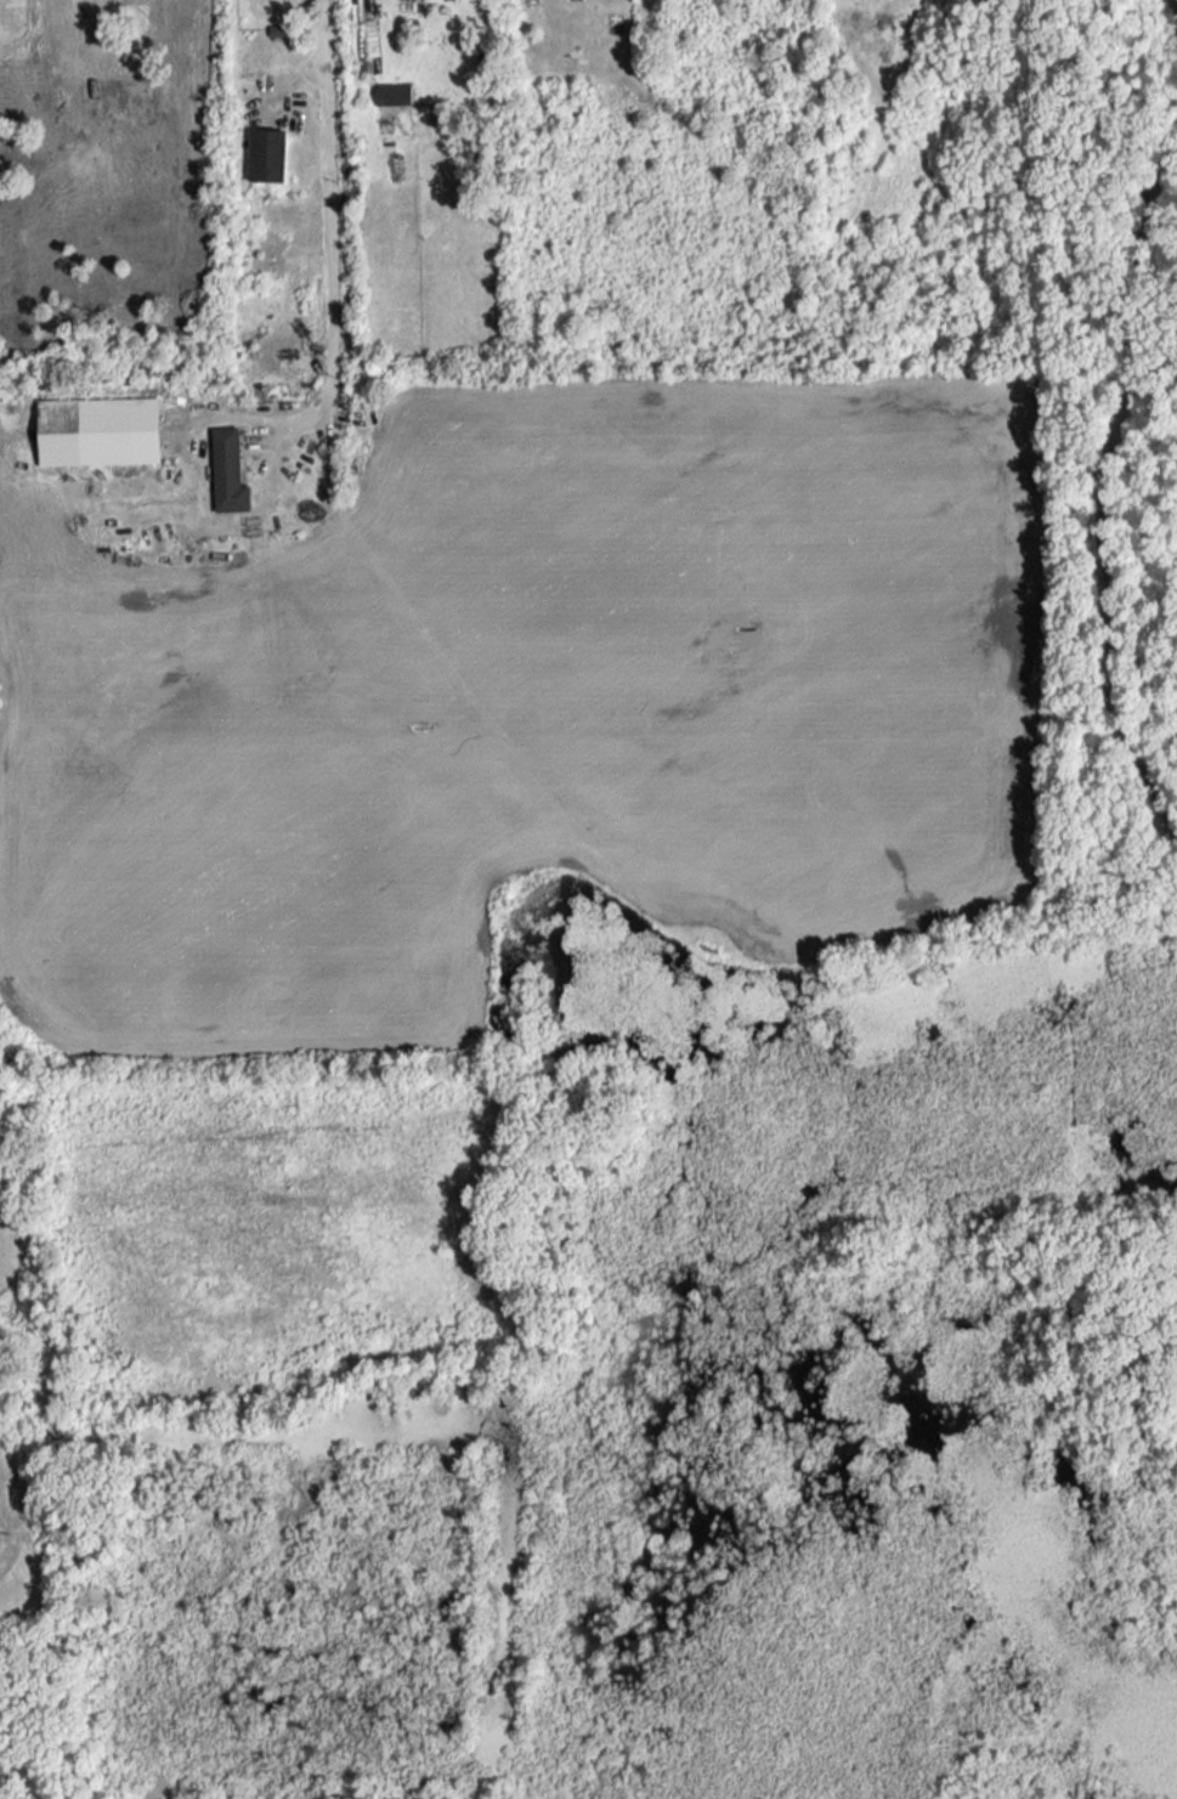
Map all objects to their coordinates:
building: (394, 92)
building: (267, 153)
road: (327, 215)
building: (100, 429)
building: (228, 470)
crop: (550, 701)
park: (534, 1425)

